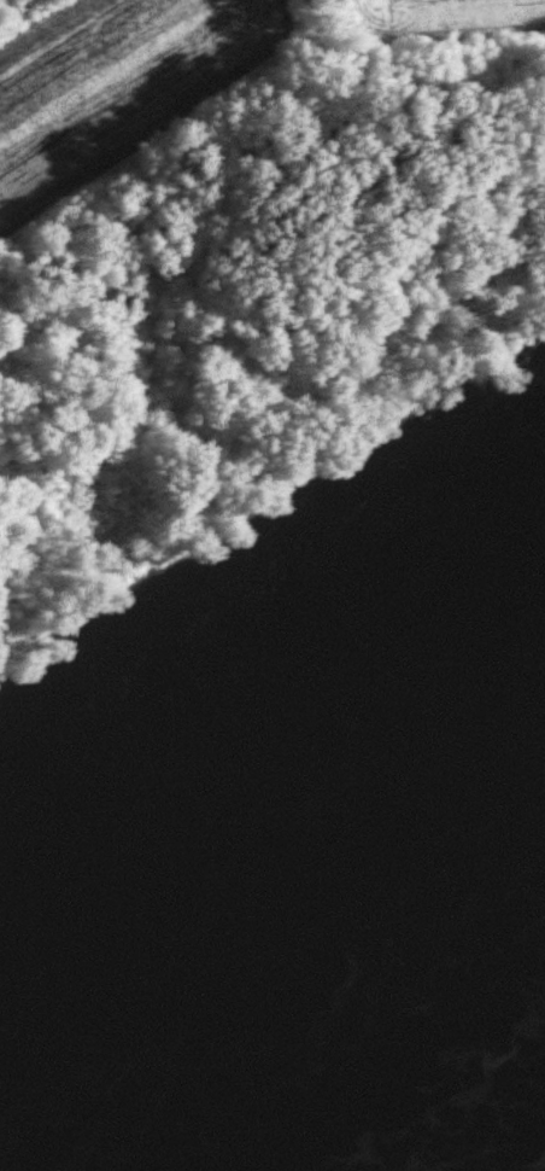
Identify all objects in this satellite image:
river: (493, 1144)

